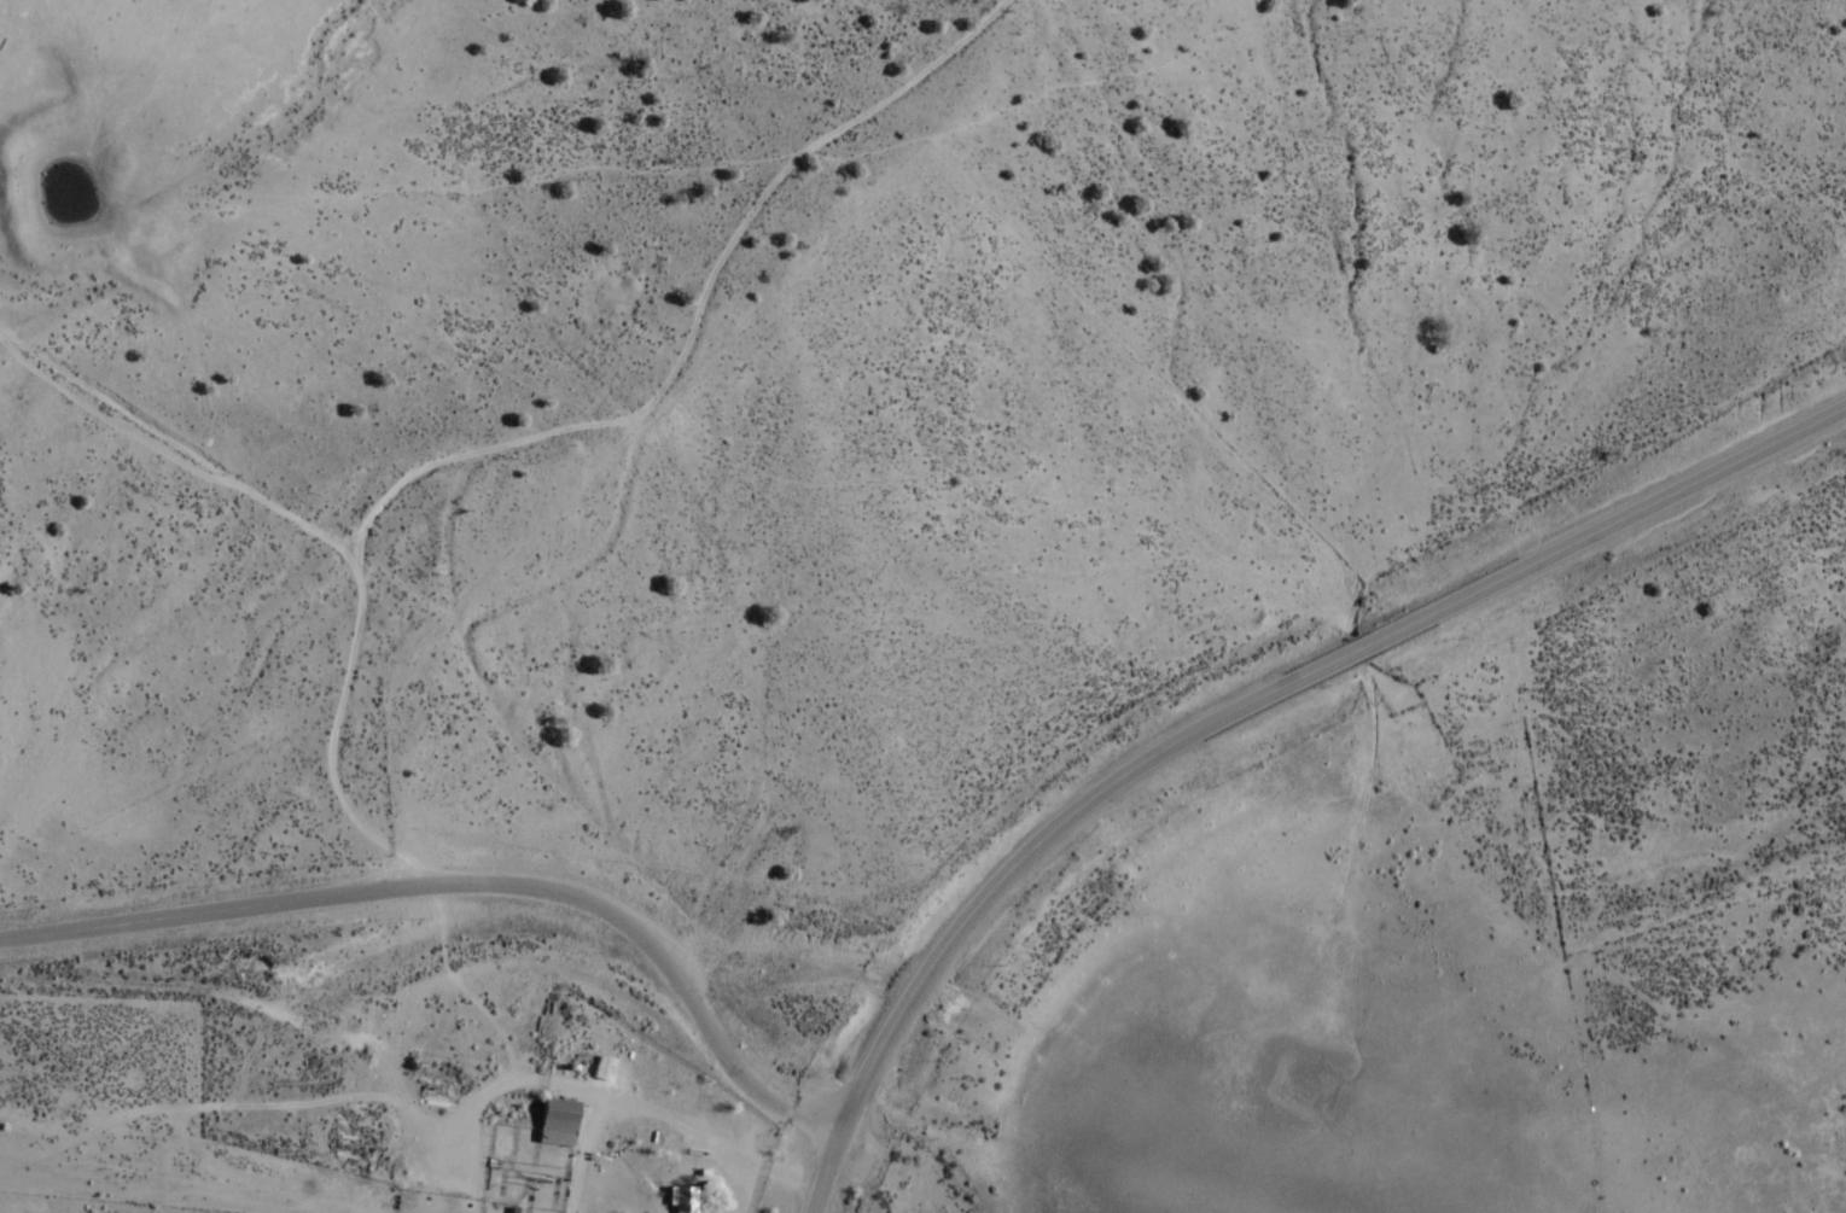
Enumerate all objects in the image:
road: (745, 328)
road: (1240, 713)
airport runway: (1733, 836)
road: (227, 902)
road: (671, 967)
building: (557, 1121)
building: (680, 1199)

